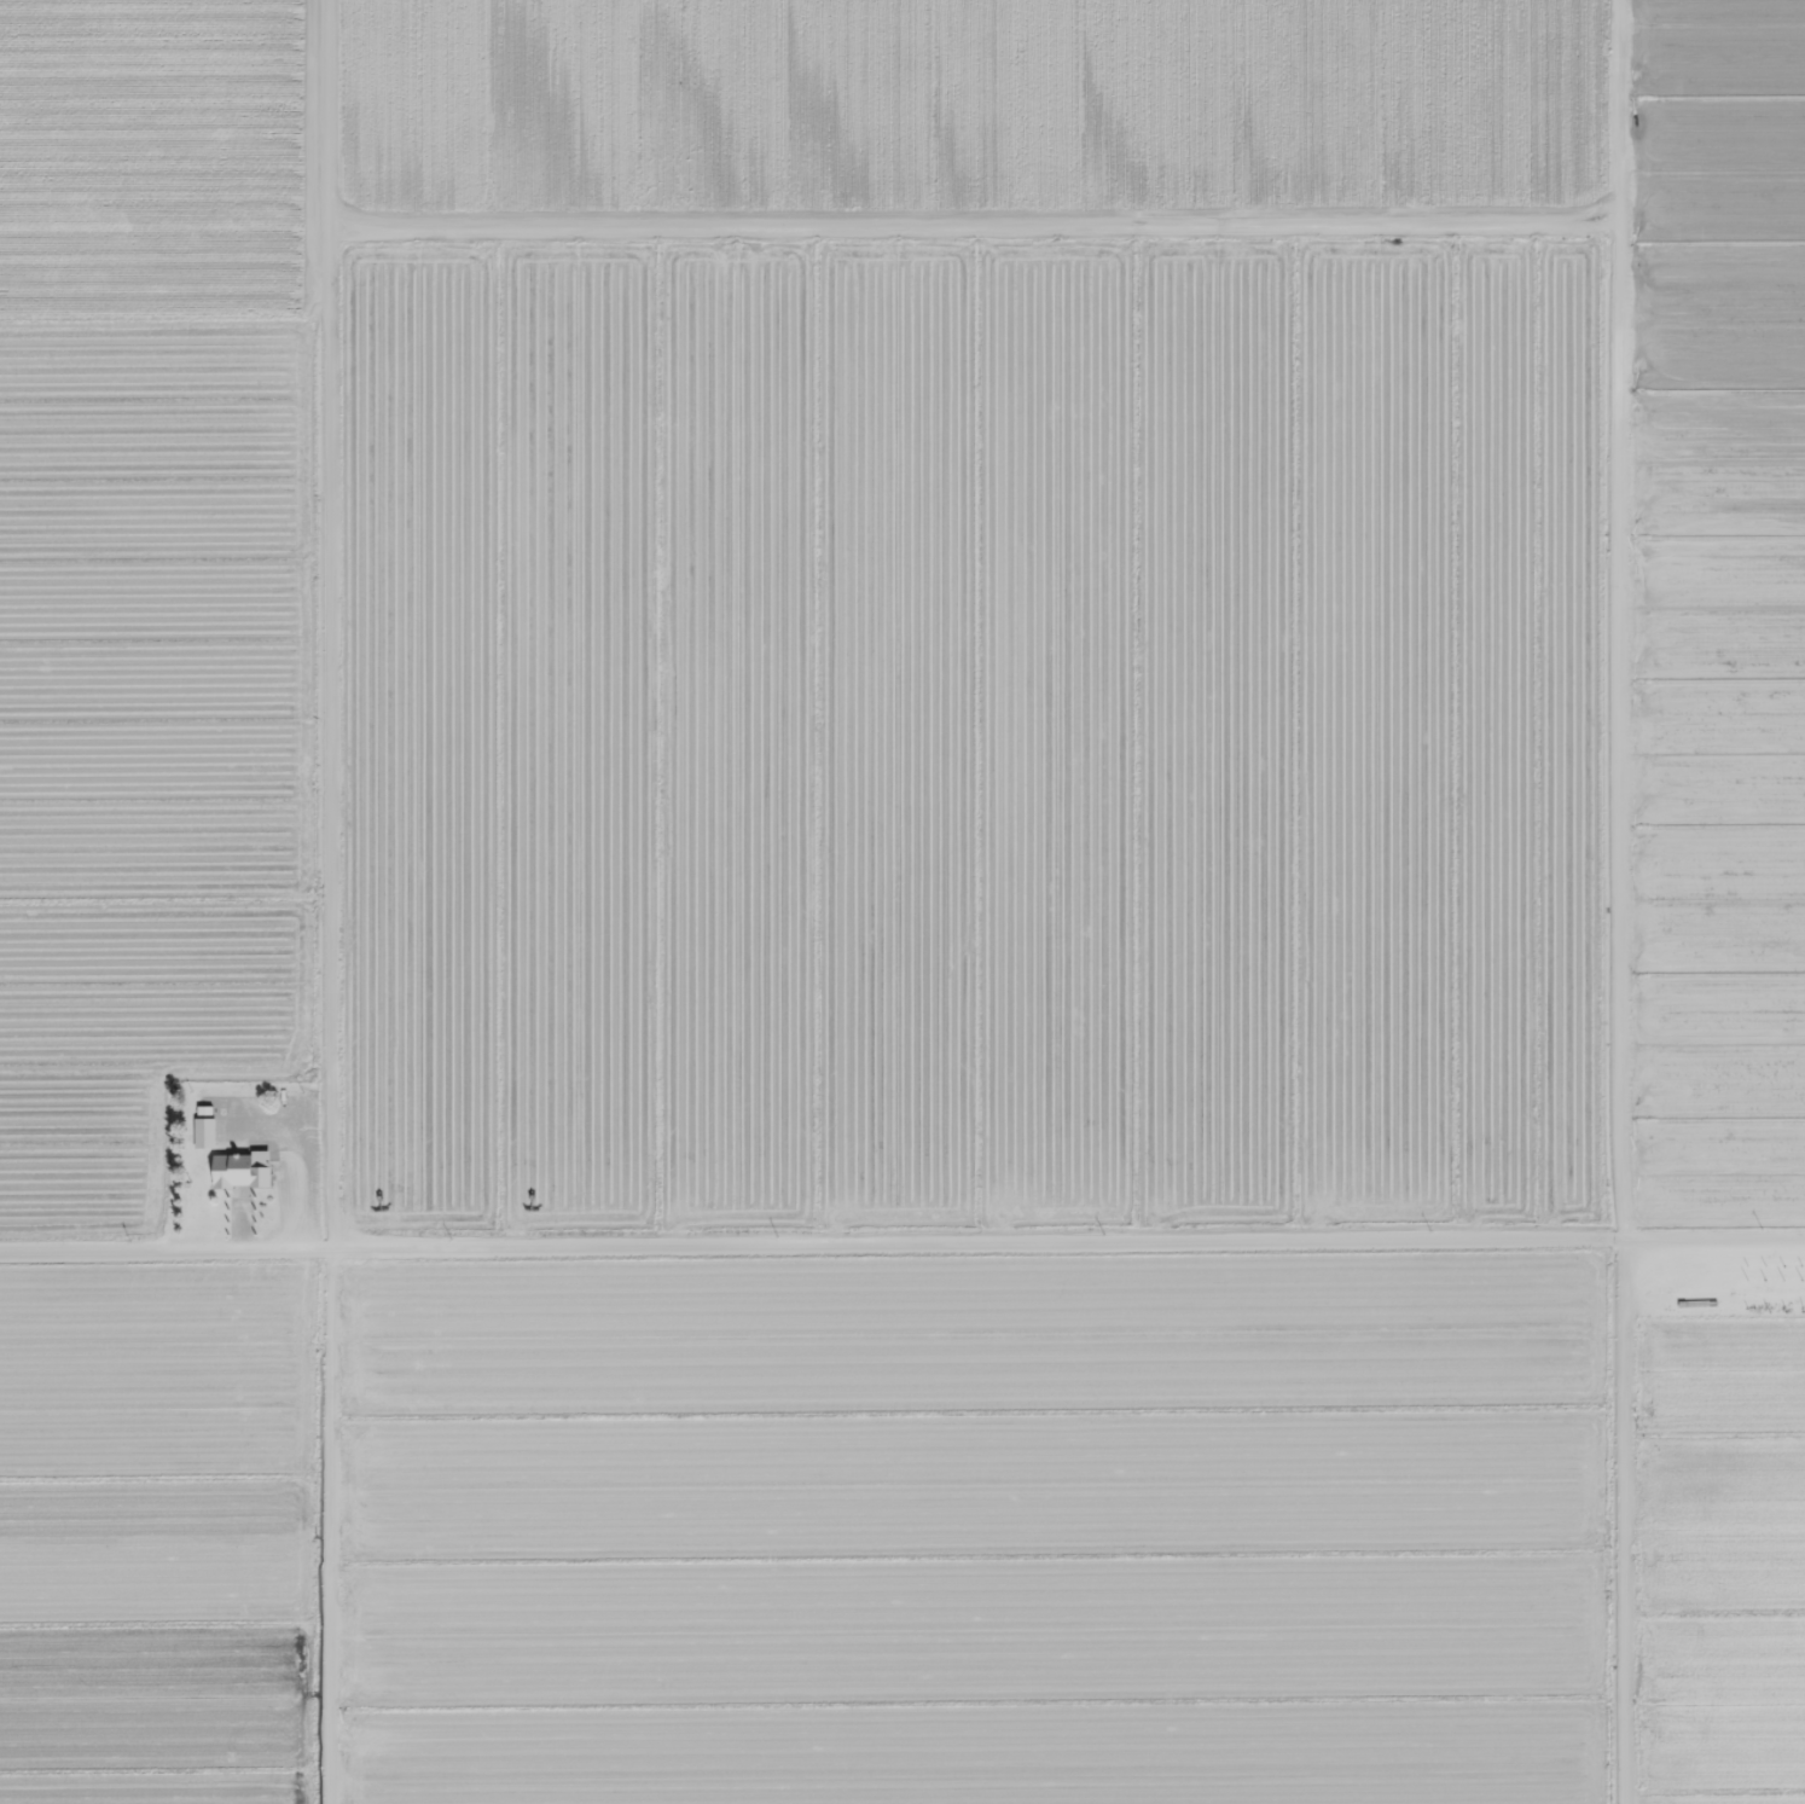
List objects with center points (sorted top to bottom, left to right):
road: (974, 225)
road: (332, 901)
road: (1621, 901)
building: (204, 1125)
building: (240, 1168)
road: (1714, 1239)
road: (1347, 1240)
road: (535, 1247)

